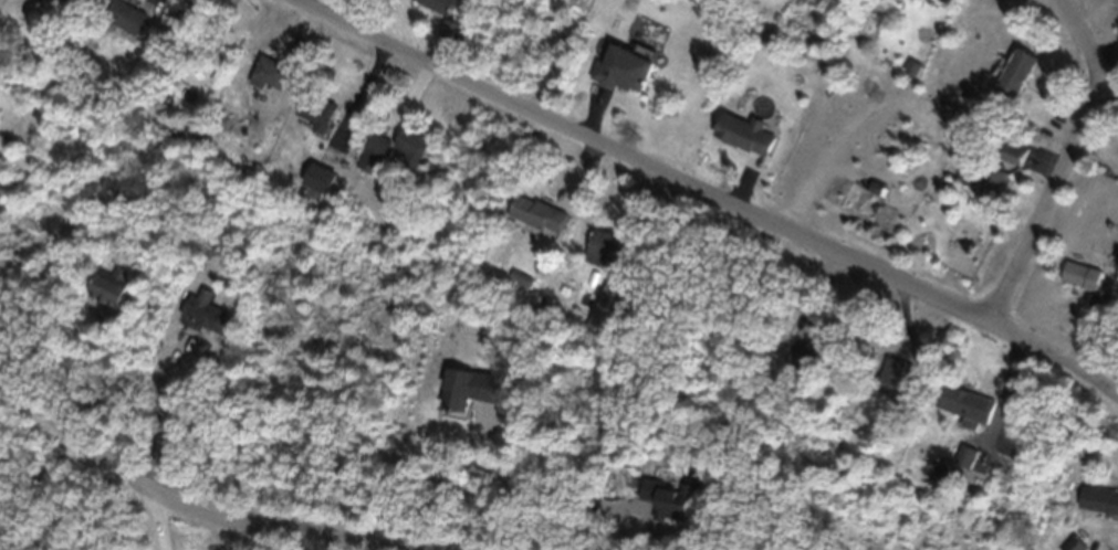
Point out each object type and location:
building: (945, 0)
building: (60, 4)
building: (437, 9)
building: (121, 24)
building: (448, 40)
building: (621, 76)
building: (1015, 82)
building: (314, 121)
building: (742, 142)
building: (408, 155)
building: (373, 157)
building: (1014, 161)
road: (1067, 162)
building: (316, 187)
road: (706, 192)
building: (996, 194)
building: (535, 222)
building: (599, 256)
building: (1078, 284)
building: (109, 297)
building: (202, 322)
building: (897, 388)
building: (451, 399)
road: (153, 409)
building: (959, 410)
road: (22, 438)
road: (95, 453)
road: (491, 499)
building: (1097, 508)
road: (279, 527)
road: (232, 536)

